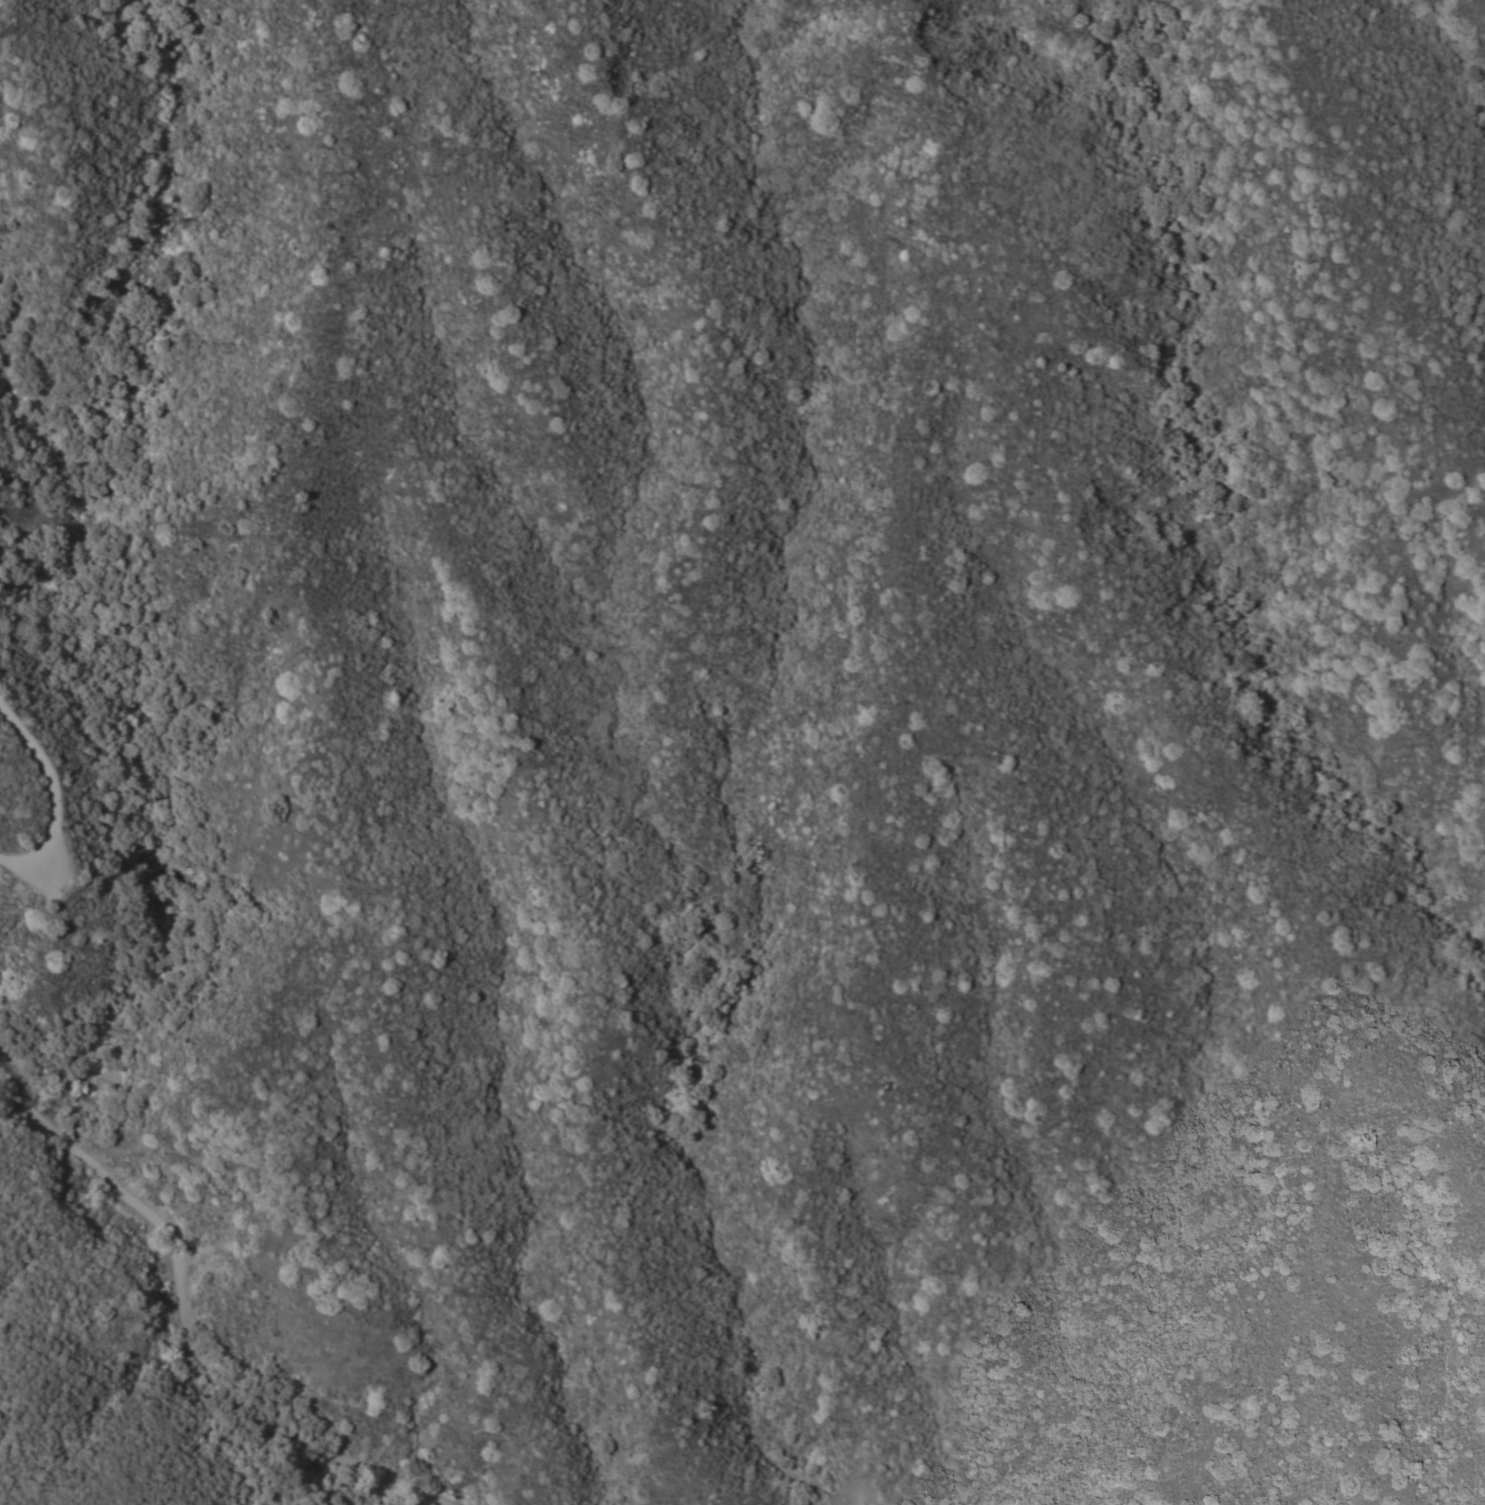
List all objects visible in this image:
road: (50, 812)
road: (188, 1316)

